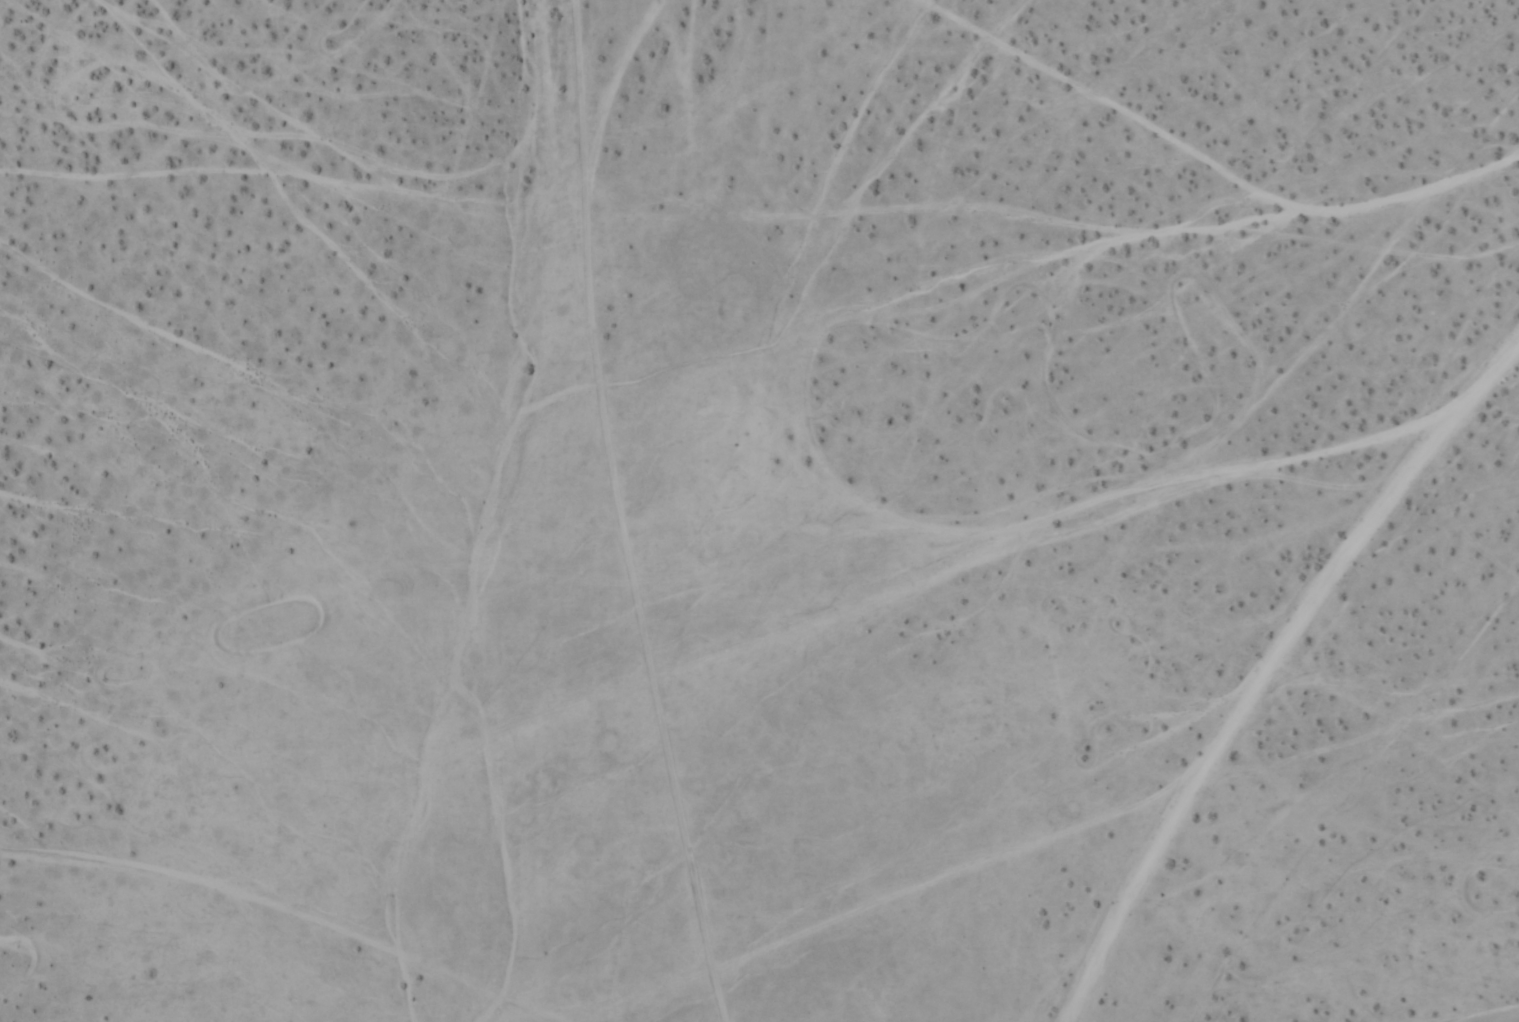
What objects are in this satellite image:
crop: (759, 511)
road: (1271, 669)
road: (287, 915)

